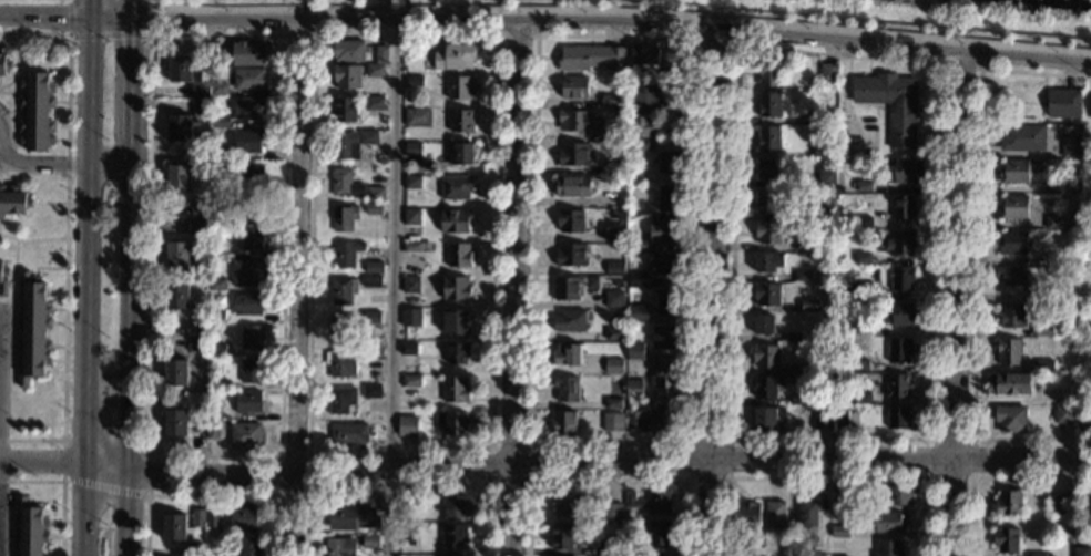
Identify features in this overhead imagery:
park: (35, 1)
road: (152, 1)
road: (69, 2)
road: (85, 9)
road: (136, 11)
park: (765, 16)
road: (42, 18)
road: (111, 20)
road: (614, 22)
road: (111, 34)
road: (299, 34)
road: (516, 35)
road: (715, 44)
building: (348, 51)
building: (248, 53)
building: (381, 54)
building: (456, 56)
building: (218, 58)
building: (590, 59)
building: (645, 59)
building: (2, 65)
road: (959, 66)
building: (183, 69)
building: (376, 71)
building: (828, 72)
building: (769, 73)
building: (347, 78)
road: (134, 79)
building: (251, 79)
building: (415, 81)
building: (459, 87)
building: (573, 87)
building: (220, 89)
building: (201, 91)
road: (846, 93)
building: (645, 94)
building: (611, 101)
building: (374, 103)
building: (1063, 103)
building: (891, 104)
building: (768, 105)
building: (202, 106)
building: (251, 109)
building: (345, 110)
building: (37, 113)
building: (823, 116)
building: (417, 117)
building: (573, 120)
building: (462, 121)
building: (221, 122)
road: (9, 128)
building: (180, 128)
building: (612, 133)
building: (640, 133)
road: (1, 137)
building: (368, 137)
building: (768, 137)
building: (1022, 137)
building: (249, 142)
building: (344, 145)
building: (1071, 148)
building: (414, 150)
building: (823, 150)
building: (459, 153)
road: (0, 154)
building: (221, 154)
building: (573, 154)
building: (381, 161)
building: (671, 161)
road: (65, 164)
building: (613, 167)
building: (769, 168)
building: (1014, 171)
building: (906, 172)
road: (31, 173)
building: (249, 174)
building: (638, 176)
building: (177, 177)
building: (826, 177)
building: (412, 182)
building: (220, 184)
building: (345, 184)
building: (572, 186)
building: (864, 186)
building: (1074, 187)
building: (457, 188)
building: (1060, 188)
building: (375, 194)
building: (619, 198)
building: (669, 198)
building: (11, 202)
building: (765, 202)
building: (254, 206)
building: (904, 206)
building: (198, 207)
building: (1013, 207)
building: (374, 209)
building: (819, 212)
building: (411, 216)
building: (344, 217)
building: (456, 222)
building: (570, 222)
building: (847, 222)
building: (1054, 222)
building: (863, 223)
building: (198, 226)
building: (663, 231)
building: (767, 231)
road: (65, 234)
building: (616, 235)
building: (252, 239)
road: (31, 240)
building: (901, 243)
building: (1013, 243)
building: (819, 244)
building: (638, 245)
building: (416, 247)
road: (299, 249)
building: (346, 253)
building: (177, 255)
building: (459, 256)
building: (571, 256)
building: (863, 257)
road: (975, 257)
building: (1053, 259)
building: (767, 261)
building: (667, 264)
building: (374, 267)
building: (615, 268)
building: (1054, 270)
building: (247, 272)
building: (801, 276)
building: (1009, 276)
building: (901, 279)
building: (635, 280)
building: (2, 281)
building: (371, 281)
building: (217, 285)
building: (410, 285)
building: (619, 285)
road: (85, 287)
road: (394, 288)
building: (456, 288)
road: (511, 288)
building: (565, 288)
building: (343, 289)
building: (856, 289)
road: (711, 292)
building: (1040, 294)
building: (766, 295)
road: (9, 296)
building: (176, 296)
building: (614, 299)
building: (667, 302)
building: (248, 303)
building: (809, 305)
road: (954, 305)
building: (901, 313)
building: (635, 315)
building: (216, 316)
building: (1010, 317)
building: (410, 318)
building: (569, 321)
building: (457, 322)
building: (349, 323)
building: (763, 326)
building: (861, 328)
building: (32, 329)
building: (1042, 331)
building: (614, 334)
building: (251, 337)
building: (662, 337)
building: (793, 337)
building: (196, 343)
road: (130, 346)
building: (216, 349)
building: (408, 349)
building: (899, 350)
building: (634, 351)
building: (1008, 351)
building: (373, 353)
building: (458, 353)
building: (567, 356)
building: (765, 357)
building: (339, 364)
building: (859, 364)
building: (614, 367)
building: (1044, 367)
building: (797, 369)
building: (252, 370)
building: (175, 373)
building: (664, 375)
building: (411, 381)
road: (108, 382)
building: (897, 384)
building: (1008, 384)
building: (766, 387)
building: (634, 388)
building: (565, 389)
building: (456, 390)
building: (370, 391)
building: (340, 398)
building: (861, 398)
building: (797, 399)
building: (248, 402)
building: (613, 402)
building: (1062, 414)
building: (766, 416)
building: (898, 418)
building: (652, 419)
building: (842, 419)
building: (1009, 419)
building: (823, 420)
building: (174, 422)
building: (452, 422)
building: (563, 423)
building: (612, 423)
building: (407, 426)
building: (212, 431)
building: (348, 433)
building: (246, 435)
road: (682, 440)
road: (922, 440)
road: (485, 449)
road: (279, 455)
road: (62, 460)
road: (544, 465)
road: (146, 475)
road: (726, 478)
road: (828, 478)
road: (970, 478)
road: (991, 478)
road: (611, 481)
road: (528, 484)
road: (402, 486)
road: (60, 487)
road: (103, 488)
road: (213, 495)
road: (306, 495)
building: (898, 495)
building: (651, 502)
building: (1008, 502)
building: (567, 504)
building: (1057, 504)
building: (402, 505)
building: (455, 506)
building: (612, 512)
building: (745, 514)
building: (774, 514)
building: (807, 514)
road: (295, 517)
building: (353, 517)
building: (198, 518)
building: (213, 518)
building: (244, 518)
building: (887, 522)
building: (174, 527)
building: (30, 529)
building: (839, 531)
building: (657, 534)
building: (455, 535)
building: (407, 536)
building: (560, 537)
building: (1006, 540)
building: (369, 542)
building: (248, 546)
building: (339, 546)
building: (608, 546)
building: (889, 548)
building: (193, 549)
building: (631, 550)
building: (786, 550)
building: (1080, 552)
building: (808, 554)
building: (1037, 554)
building: (748, 555)

